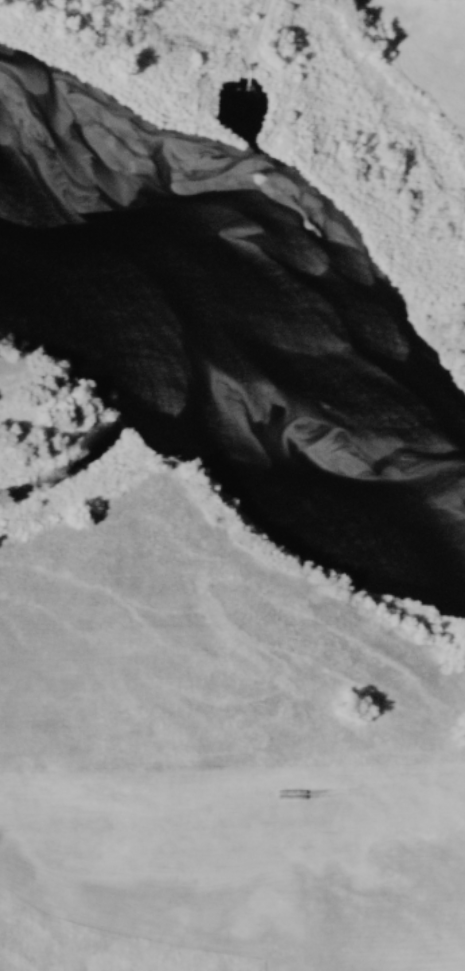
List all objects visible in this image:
river: (232, 333)

